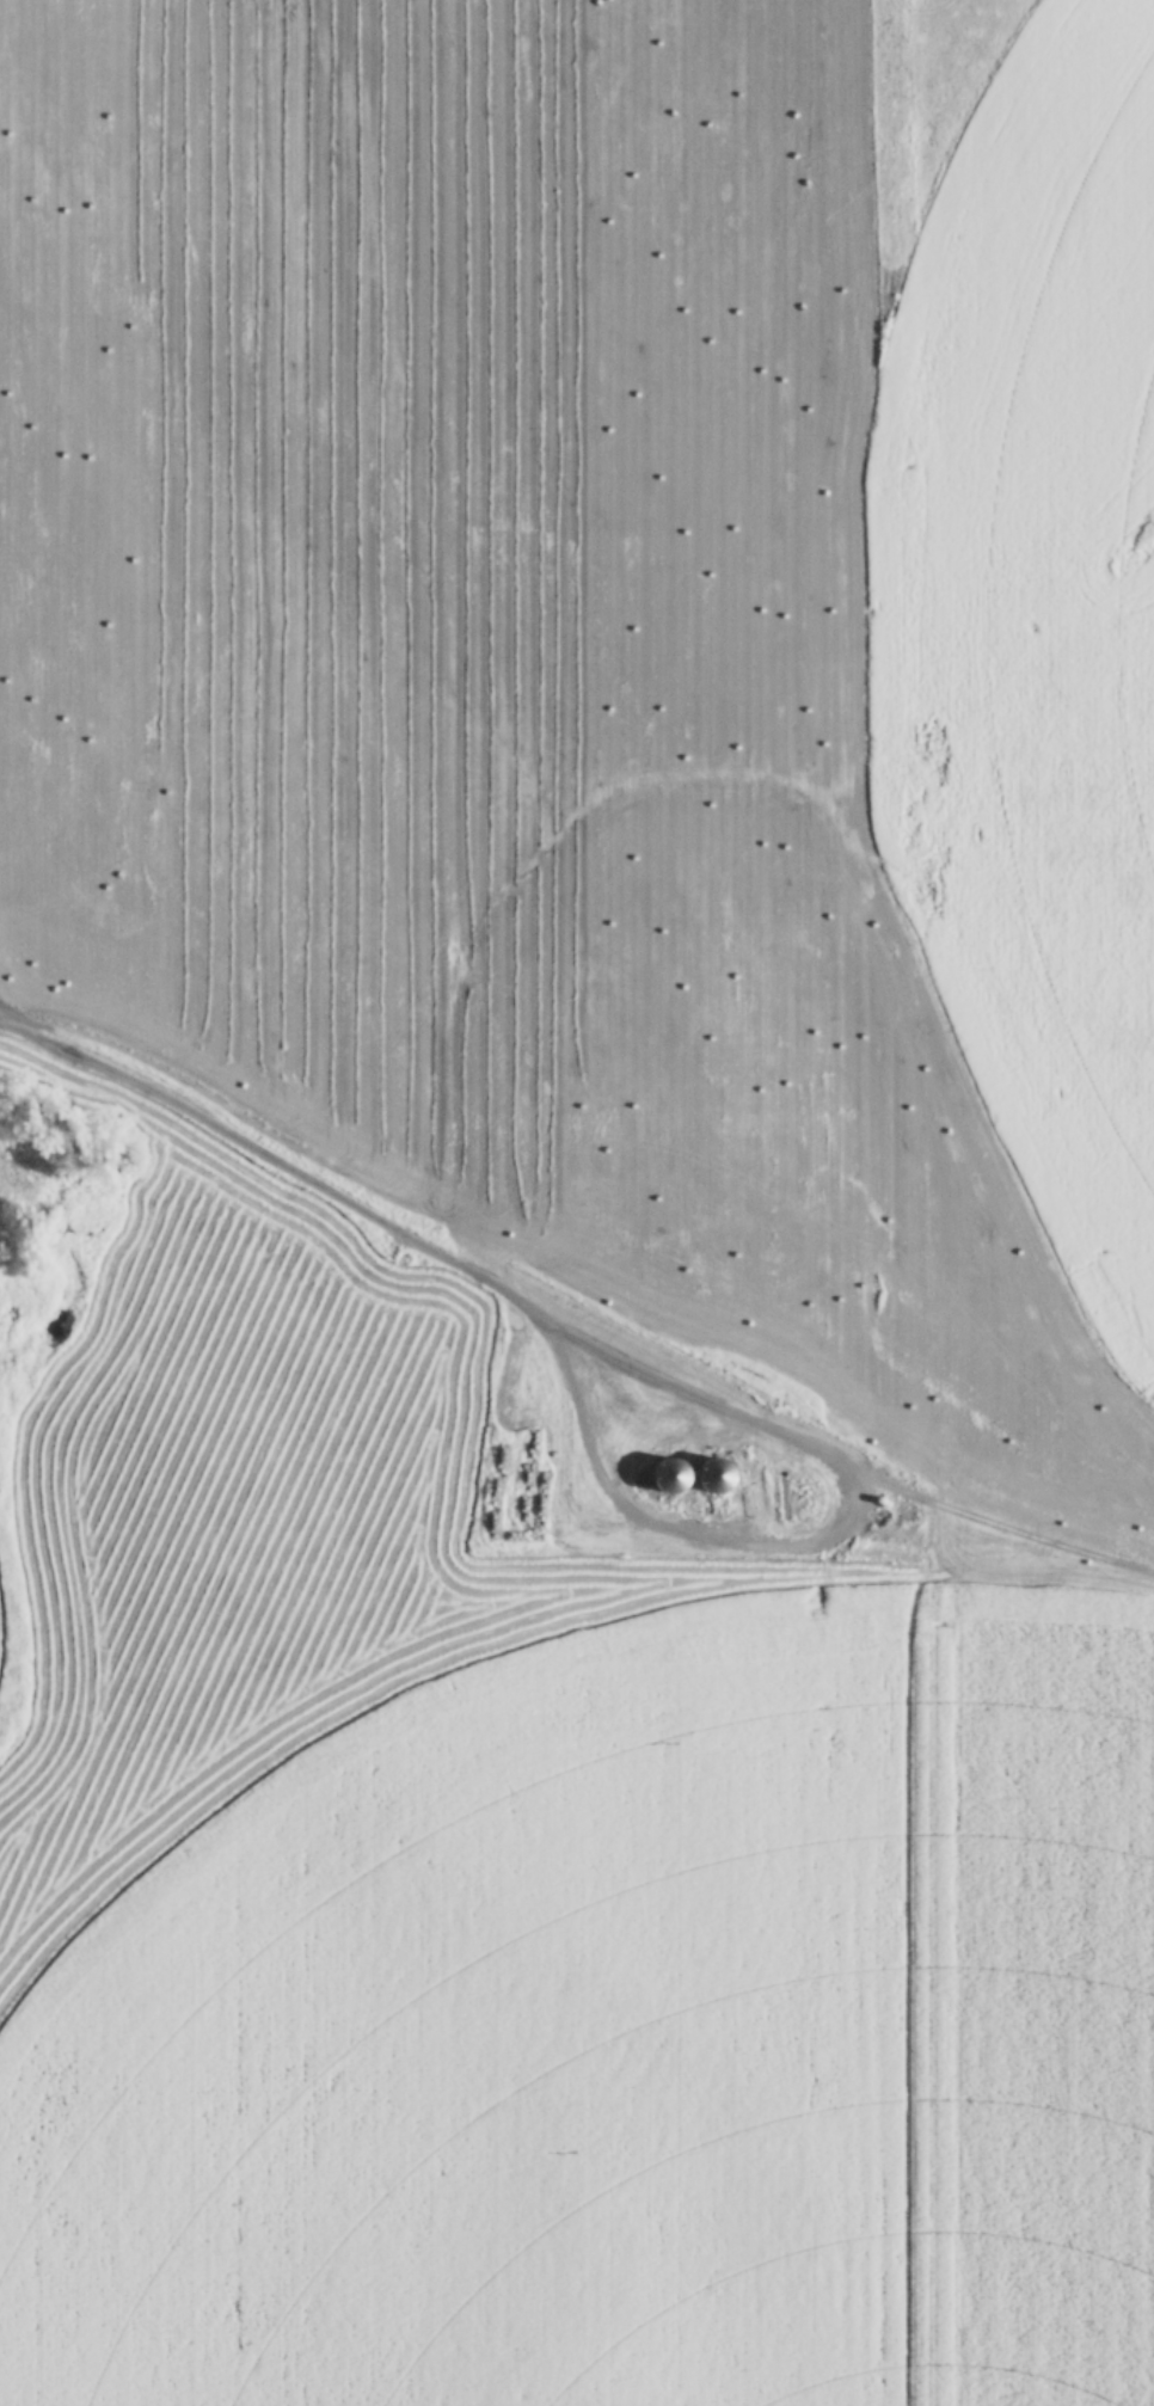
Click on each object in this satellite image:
building: (664, 1477)
building: (710, 1477)

